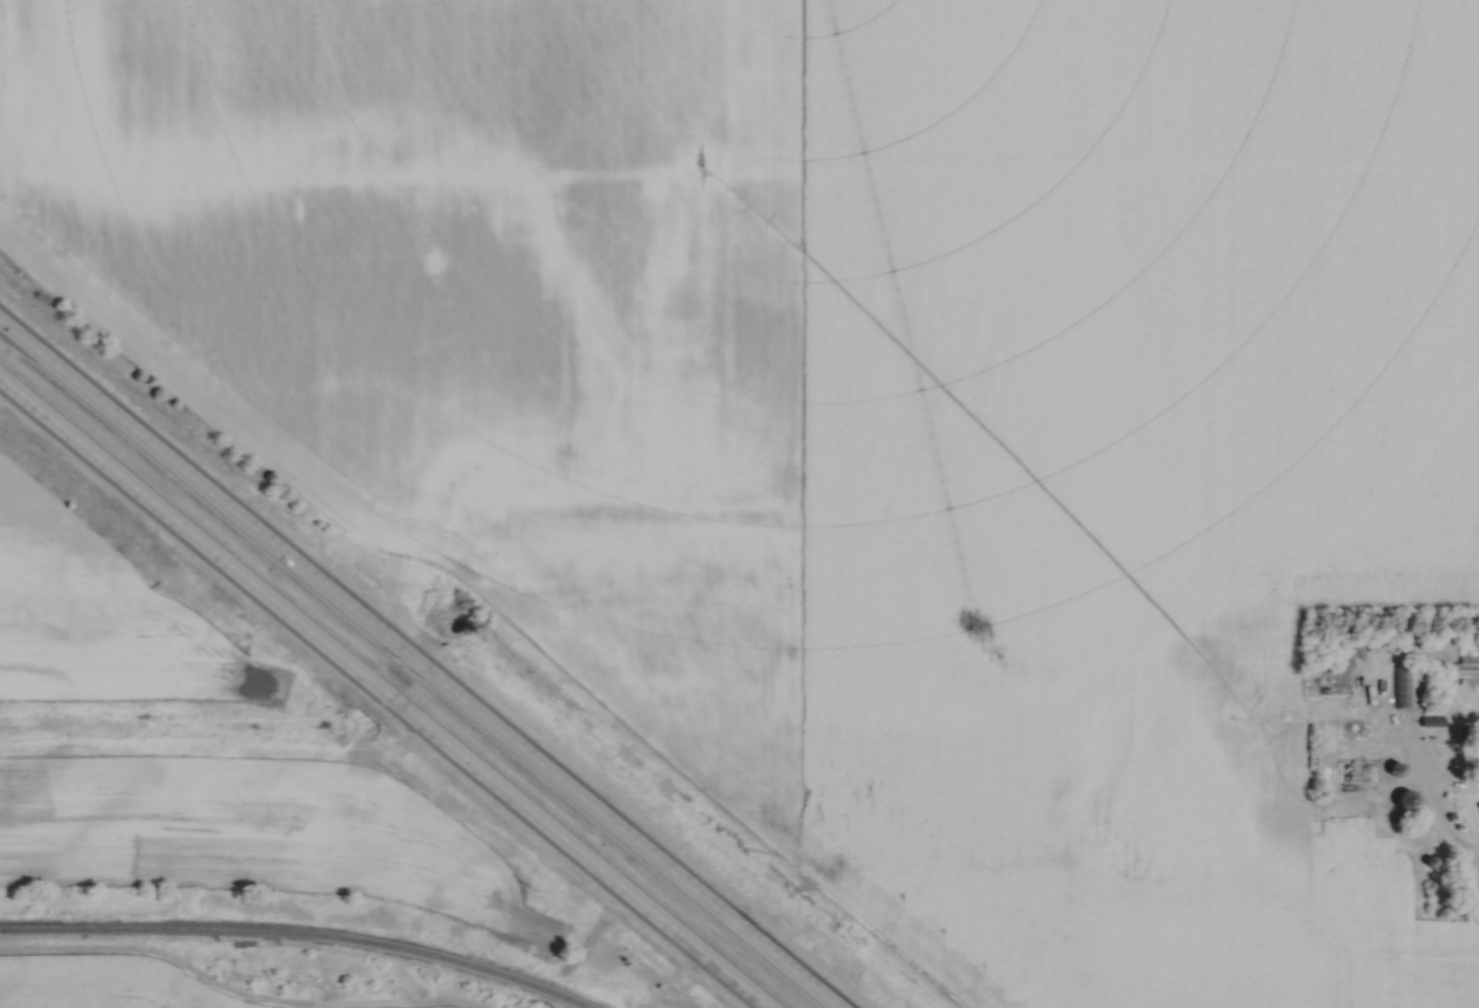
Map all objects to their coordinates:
road: (420, 663)
building: (1467, 674)
building: (1409, 689)
road: (380, 696)
building: (1398, 771)
building: (1407, 801)
road: (1470, 849)
railway: (288, 935)

